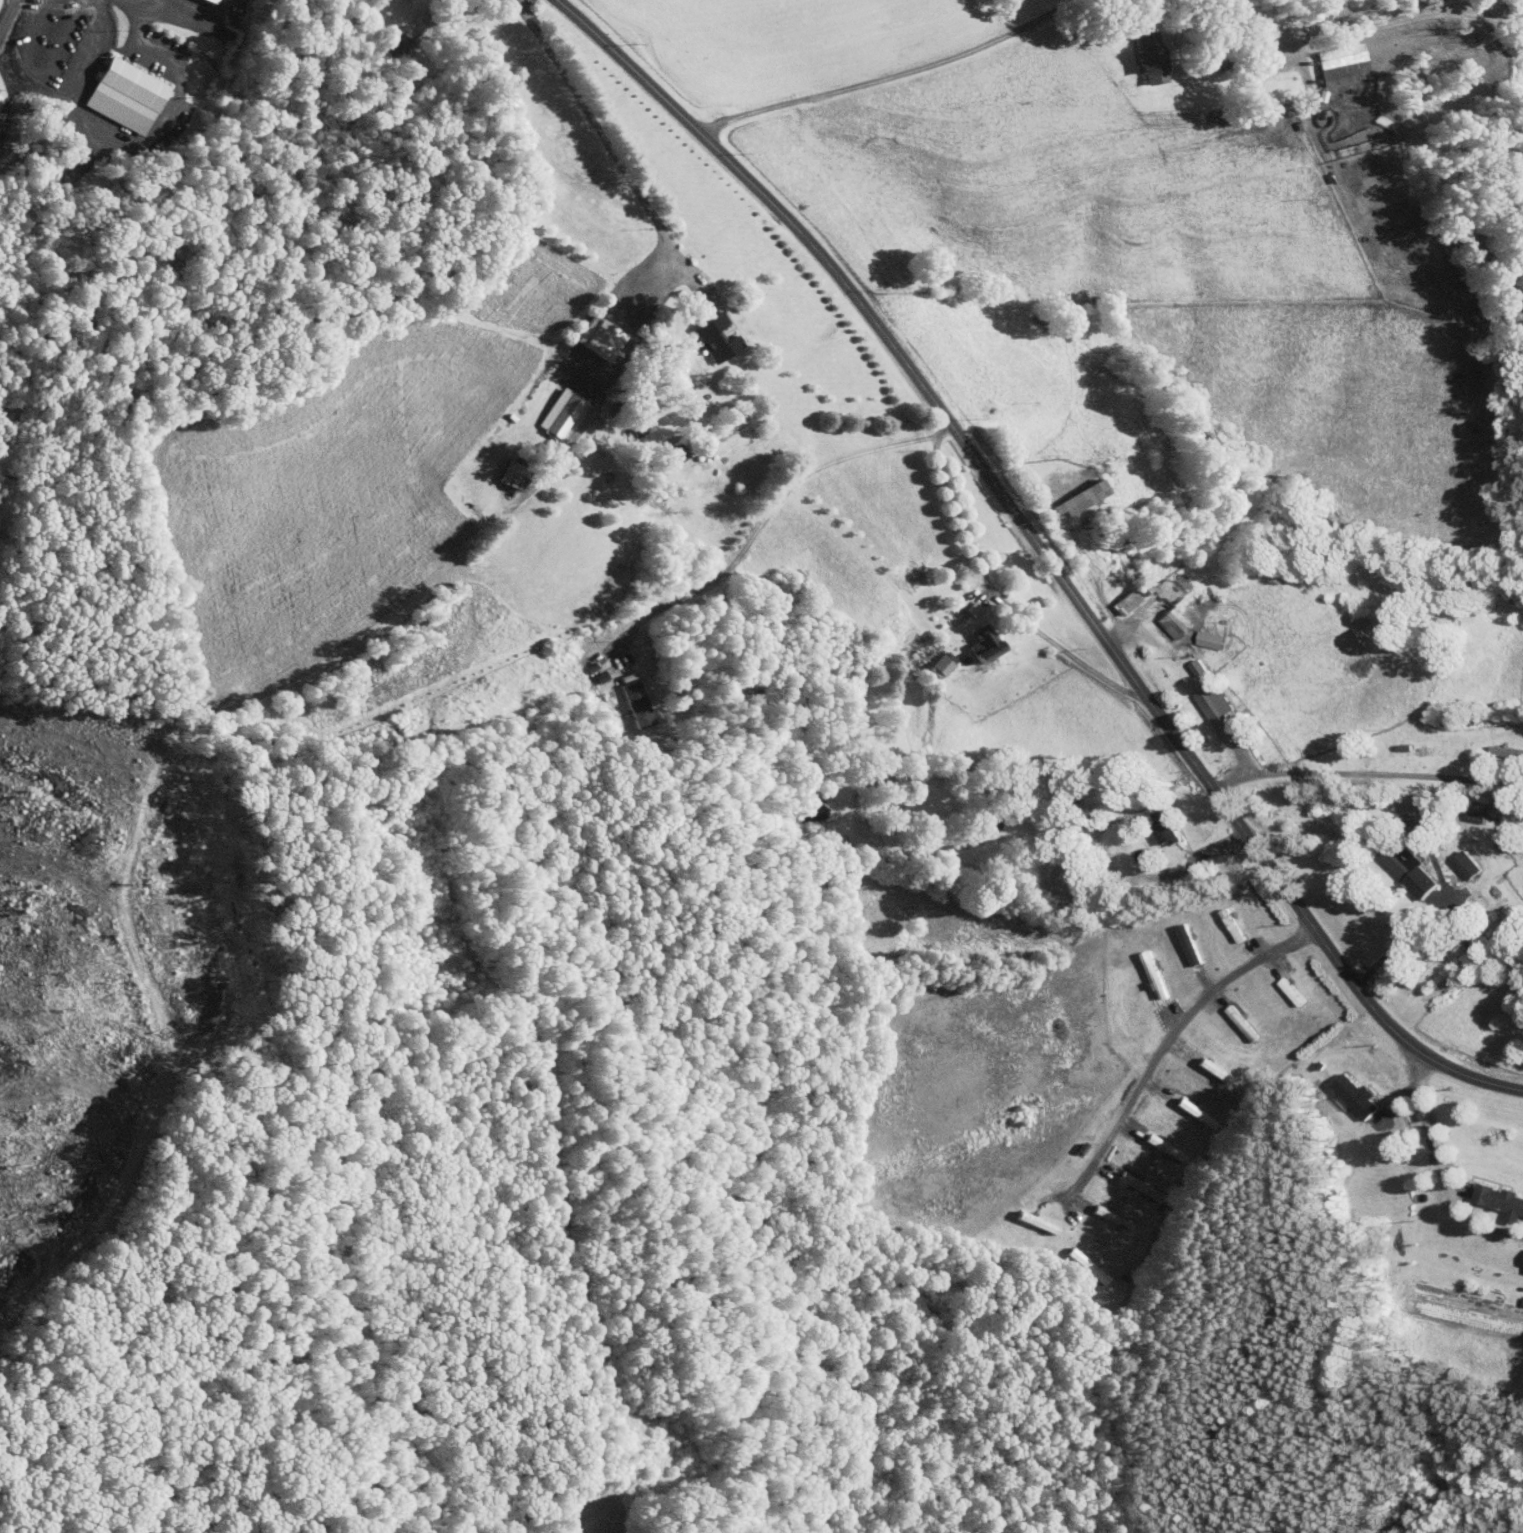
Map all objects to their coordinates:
building: (201, 1)
road: (1102, 6)
building: (1141, 50)
building: (1331, 58)
building: (124, 88)
road: (610, 149)
building: (590, 331)
building: (706, 331)
building: (550, 407)
building: (665, 448)
building: (504, 468)
building: (1071, 491)
road: (767, 513)
road: (1041, 552)
road: (1000, 595)
building: (1115, 596)
building: (963, 602)
building: (1162, 617)
building: (1199, 633)
building: (975, 638)
building: (930, 660)
building: (1187, 662)
building: (626, 697)
building: (1207, 705)
building: (1500, 747)
road: (1366, 774)
building: (1154, 822)
building: (1456, 859)
building: (1401, 865)
building: (1178, 939)
building: (1146, 976)
road: (1161, 1051)
building: (1345, 1090)
road: (1442, 1167)
building: (1496, 1196)
building: (1103, 1210)
building: (1520, 1258)

